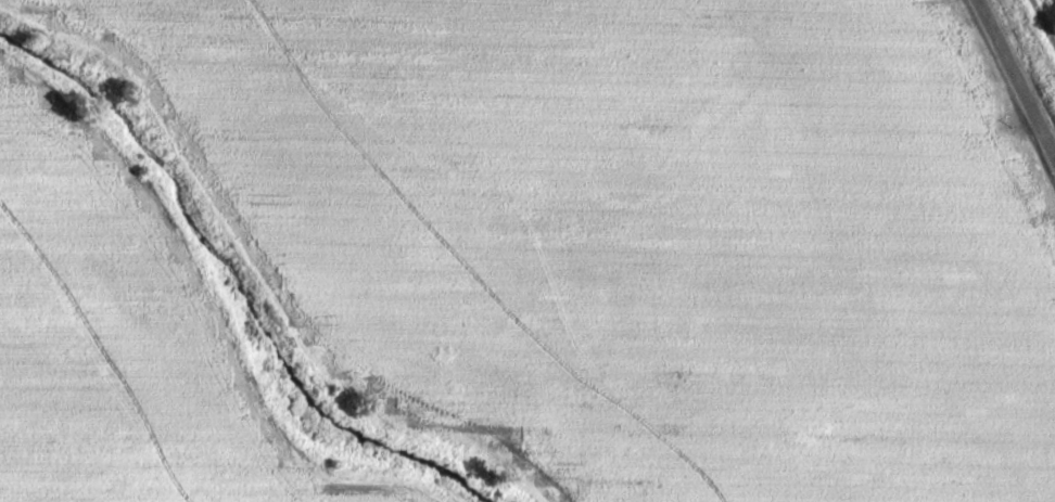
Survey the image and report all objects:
railway: (1039, 31)
road: (1012, 86)

